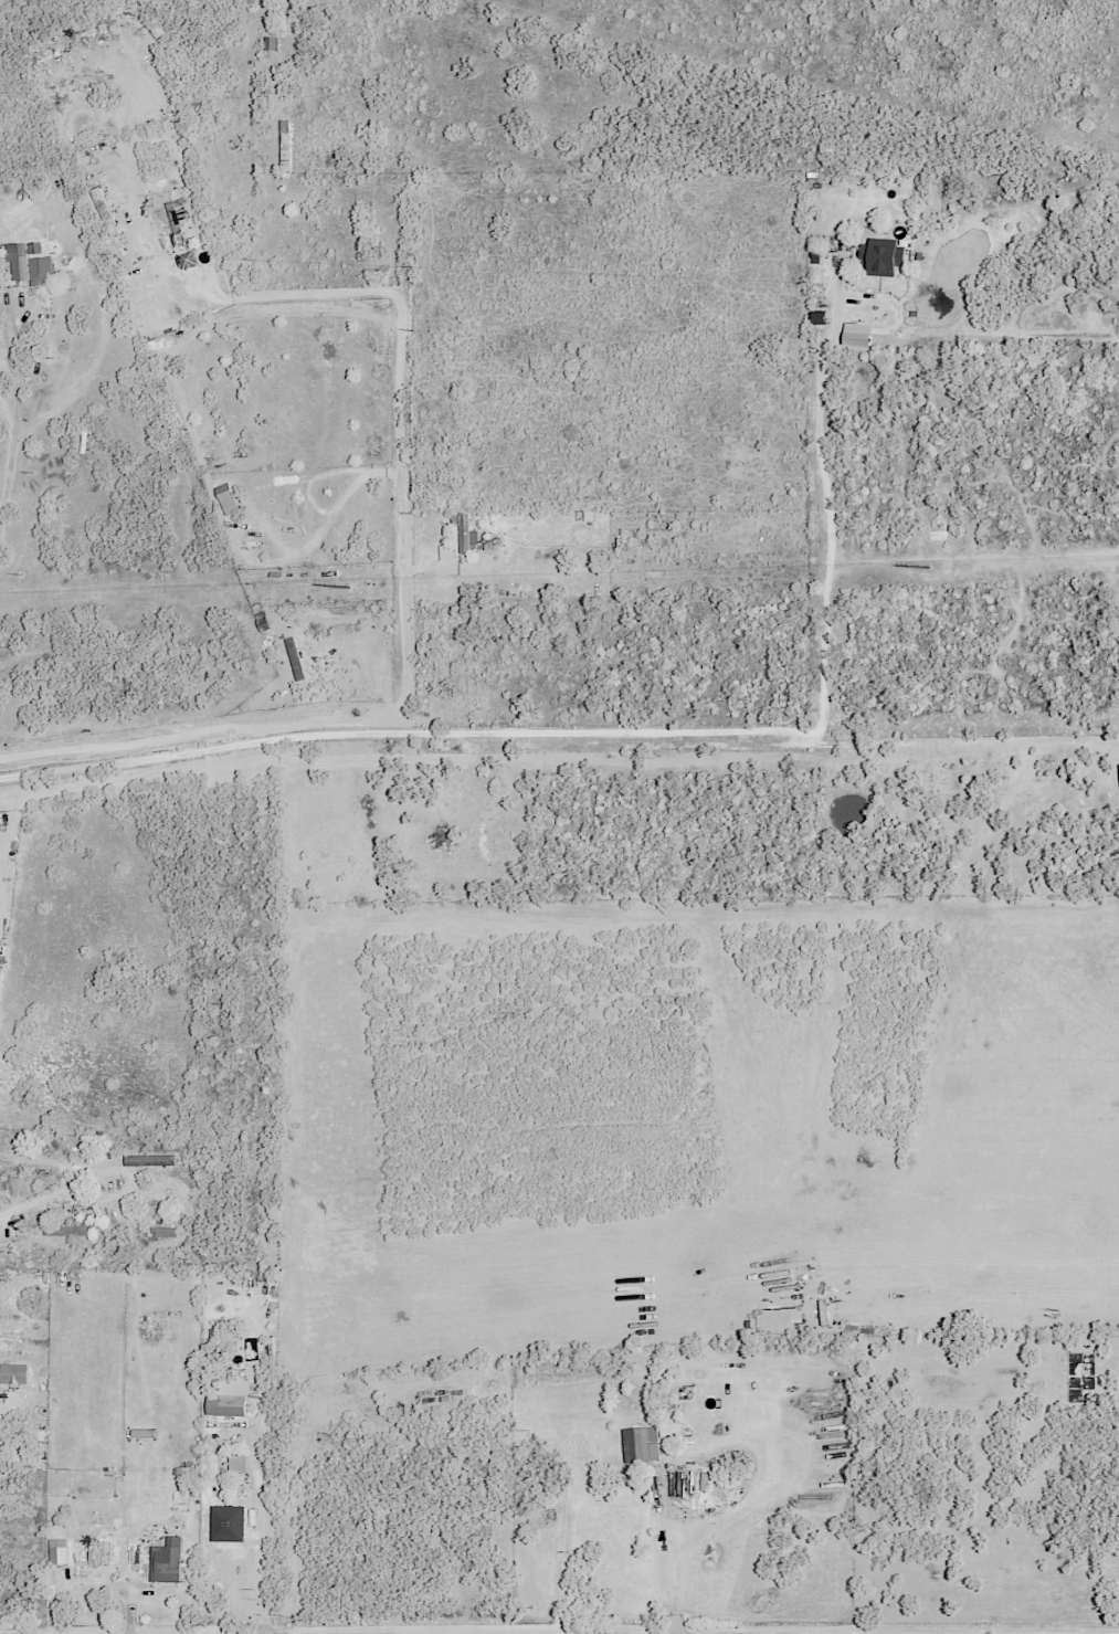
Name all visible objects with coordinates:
building: (268, 43)
road: (140, 231)
building: (879, 257)
building: (27, 263)
building: (854, 335)
road: (400, 392)
road: (17, 445)
road: (824, 496)
building: (225, 499)
building: (463, 533)
building: (444, 552)
road: (909, 559)
power tower: (928, 570)
power tower: (349, 591)
building: (294, 658)
road: (407, 732)
road: (967, 744)
building: (12, 1374)
building: (226, 1399)
building: (638, 1444)
building: (235, 1464)
building: (186, 1475)
road: (262, 1496)
road: (727, 1501)
building: (226, 1524)
building: (56, 1552)
building: (98, 1553)
building: (165, 1561)

